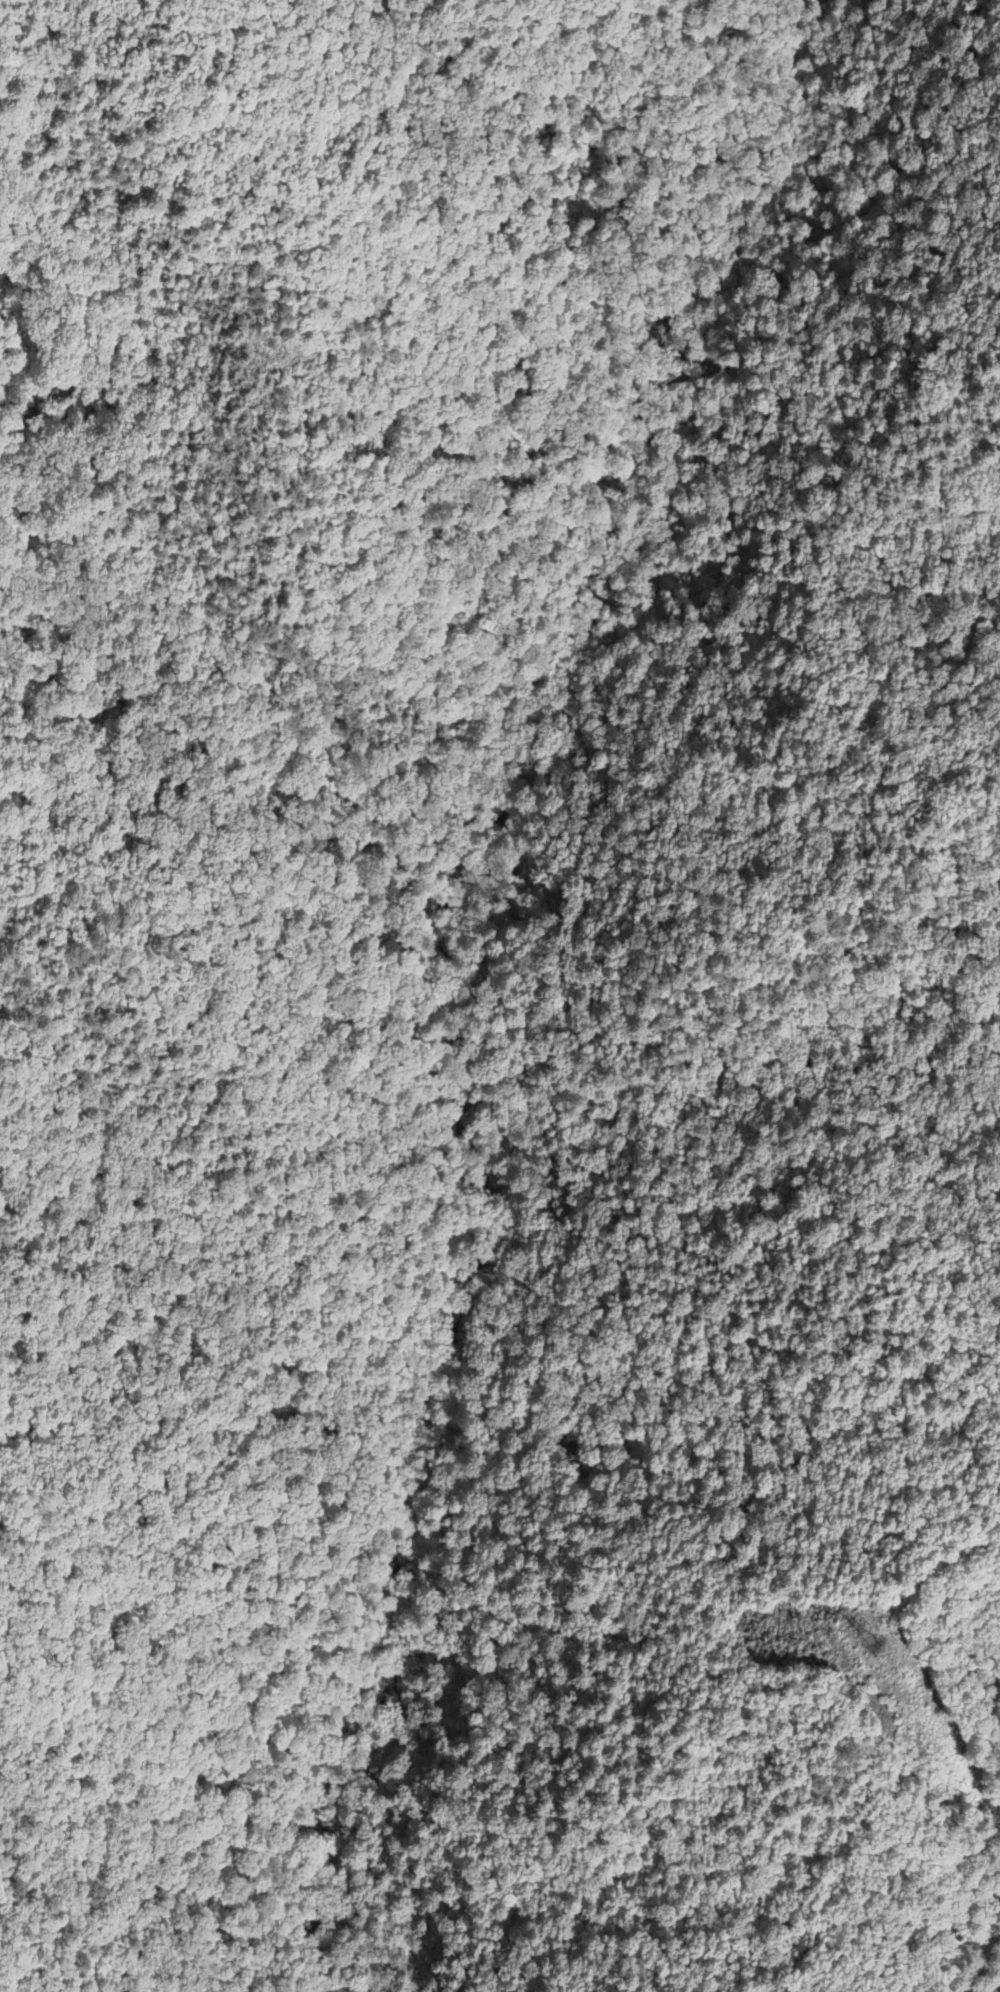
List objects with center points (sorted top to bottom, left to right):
power tower: (877, 1647)

